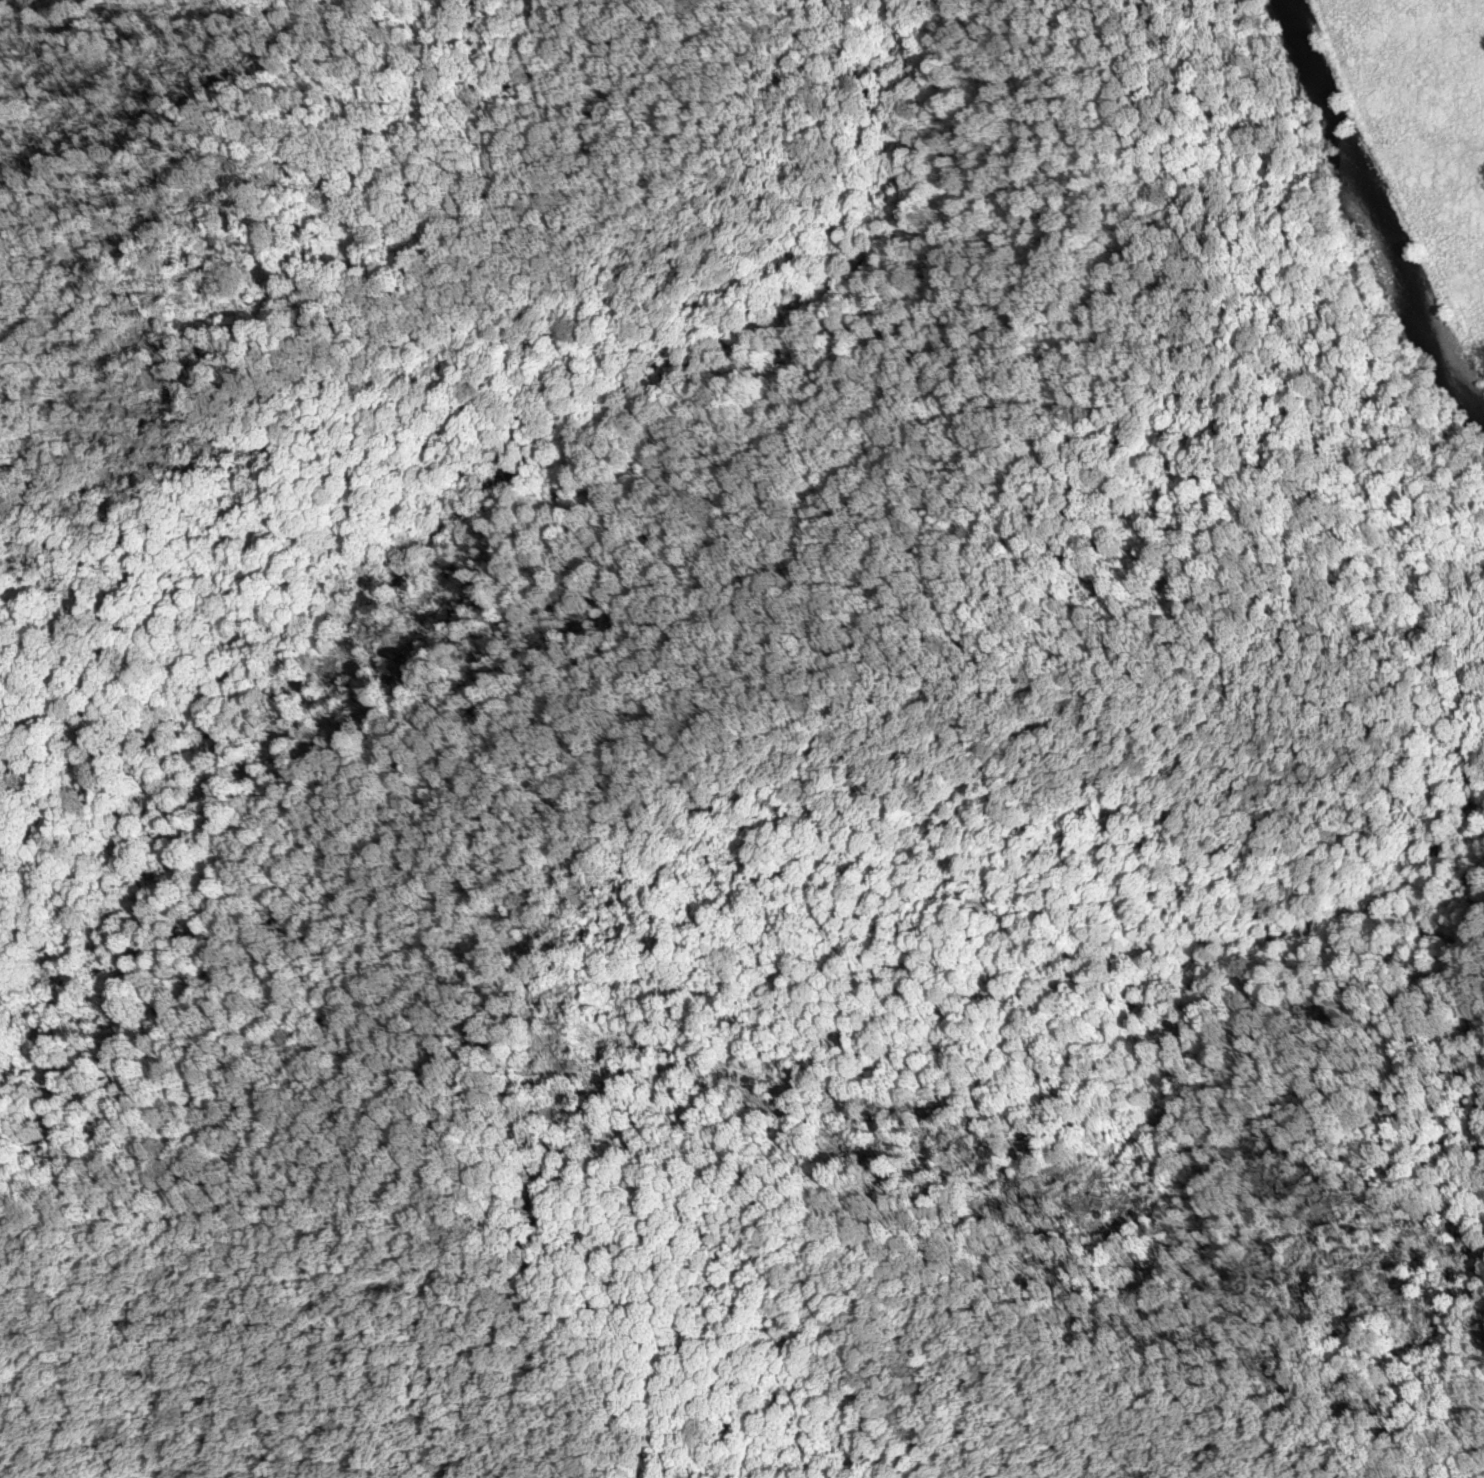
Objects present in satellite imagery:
river: (1383, 225)

